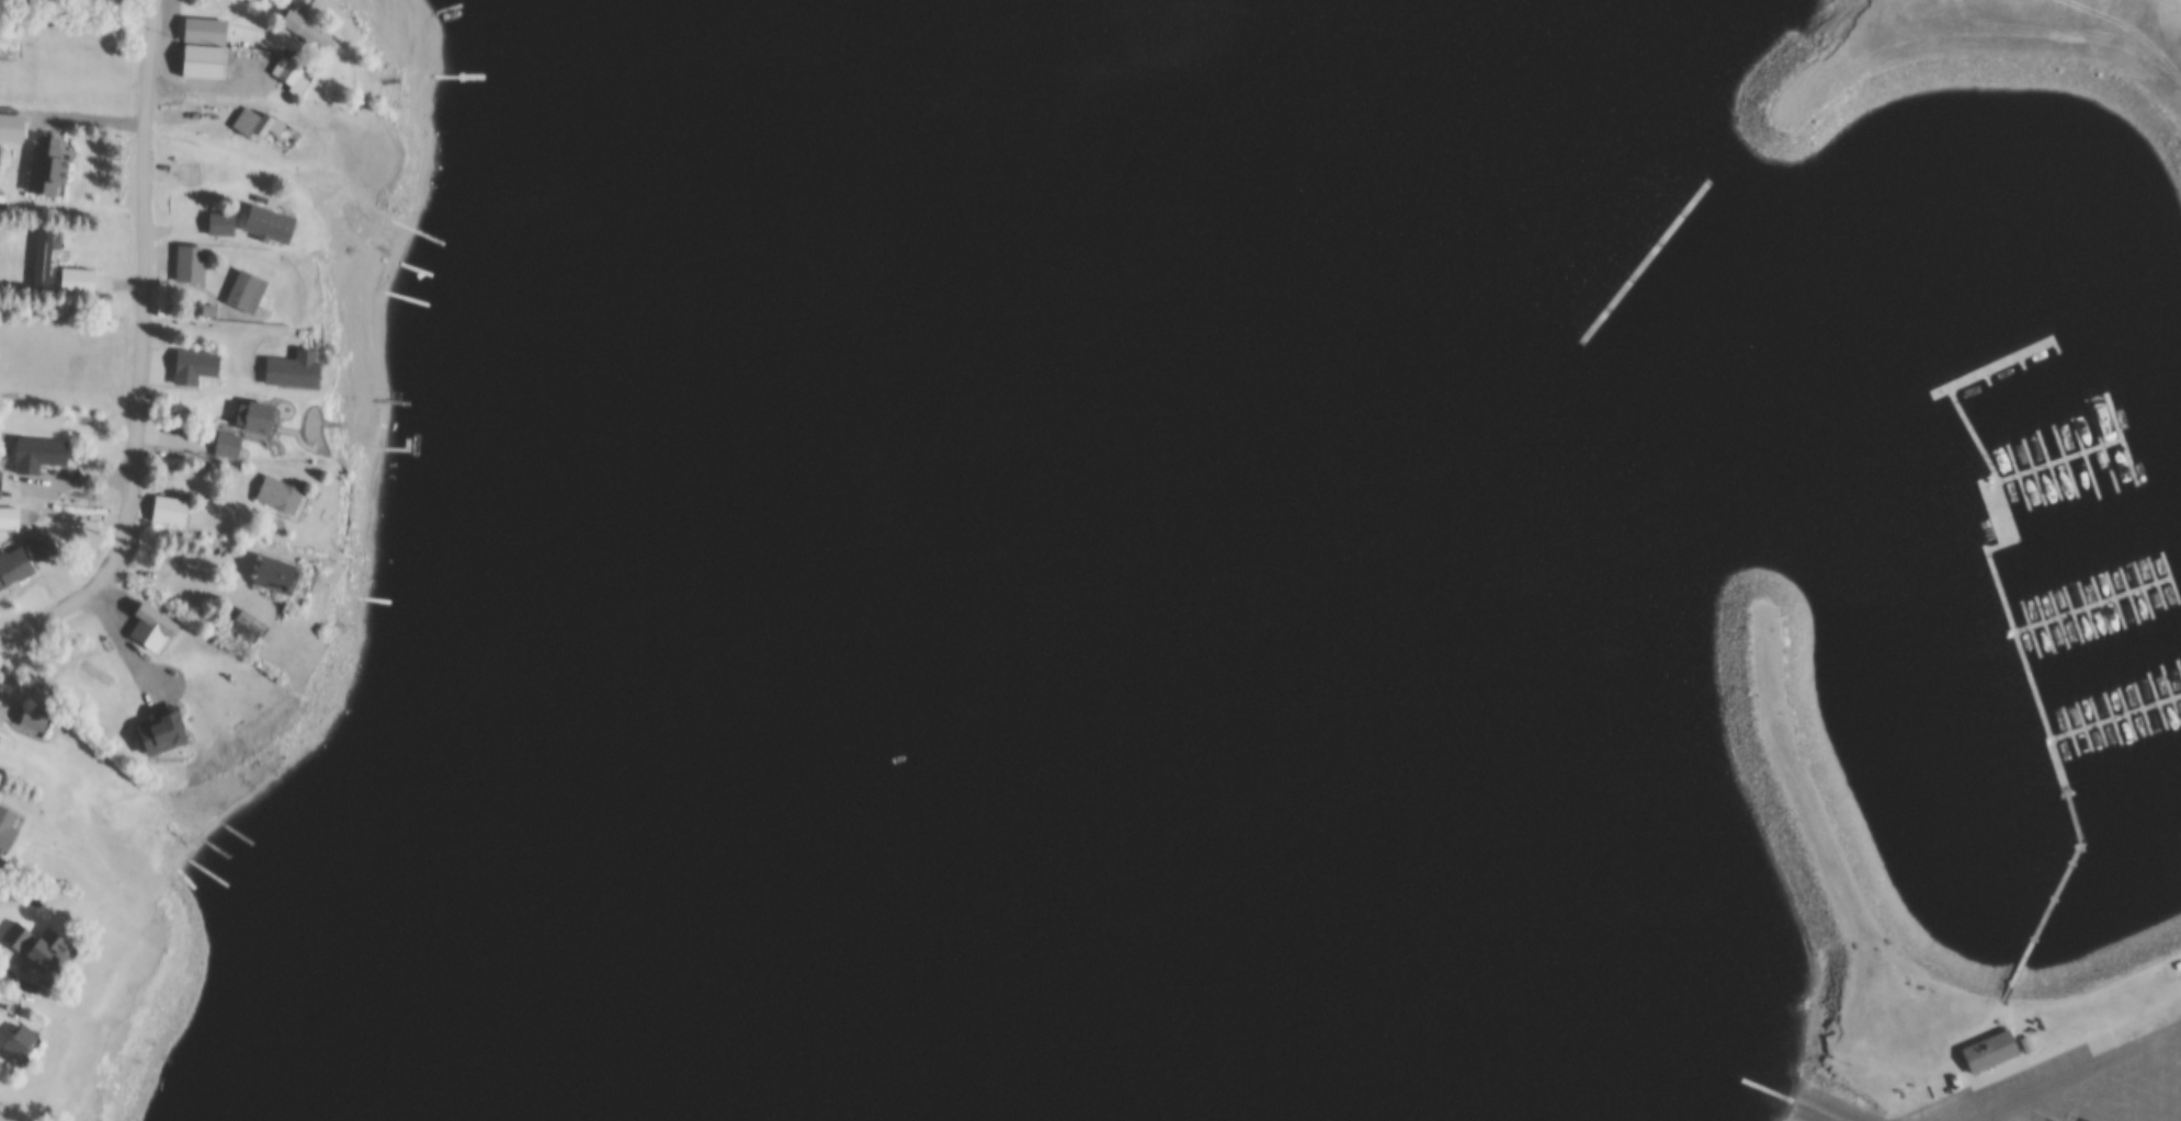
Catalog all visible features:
building: (32, 1)
building: (30, 21)
building: (306, 25)
building: (207, 31)
building: (205, 60)
park: (1964, 64)
building: (295, 70)
building: (12, 119)
building: (259, 122)
building: (48, 165)
building: (189, 173)
building: (272, 222)
building: (45, 258)
building: (194, 263)
building: (80, 279)
building: (250, 288)
building: (212, 309)
road: (150, 353)
building: (197, 365)
building: (299, 368)
pier: (1996, 368)
pier: (2019, 368)
pier: (1983, 381)
building: (260, 413)
road: (177, 436)
pier: (2120, 439)
building: (230, 443)
pier: (2099, 445)
building: (41, 453)
pier: (2057, 459)
pier: (2081, 459)
pier: (2063, 461)
pier: (2045, 465)
pier: (2030, 470)
pier: (2014, 476)
building: (1, 481)
building: (283, 493)
building: (172, 510)
building: (10, 517)
building: (280, 524)
building: (25, 559)
building: (276, 570)
pier: (2170, 577)
pier: (2157, 582)
pier: (2142, 590)
pier: (2128, 594)
pier: (2114, 599)
pier: (2092, 604)
pier: (2102, 604)
pier: (2087, 609)
pier: (2074, 614)
pier: (2059, 619)
building: (251, 622)
pier: (2045, 624)
pier: (2032, 628)
pier: (2180, 670)
pier: (2031, 674)
pier: (2170, 698)
pier: (2157, 702)
pier: (2140, 710)
pier: (2126, 713)
pier: (2113, 718)
pier: (2117, 718)
building: (35, 720)
pier: (2099, 721)
pier: (2086, 725)
building: (140, 727)
building: (166, 729)
pier: (2072, 729)
park: (1791, 760)
building: (8, 828)
building: (21, 934)
building: (53, 950)
building: (2178, 968)
building: (22, 1040)
building: (1991, 1051)
road: (2072, 1076)
parking lot: (2081, 1087)
pier: (1821, 1112)
road: (2161, 1112)

